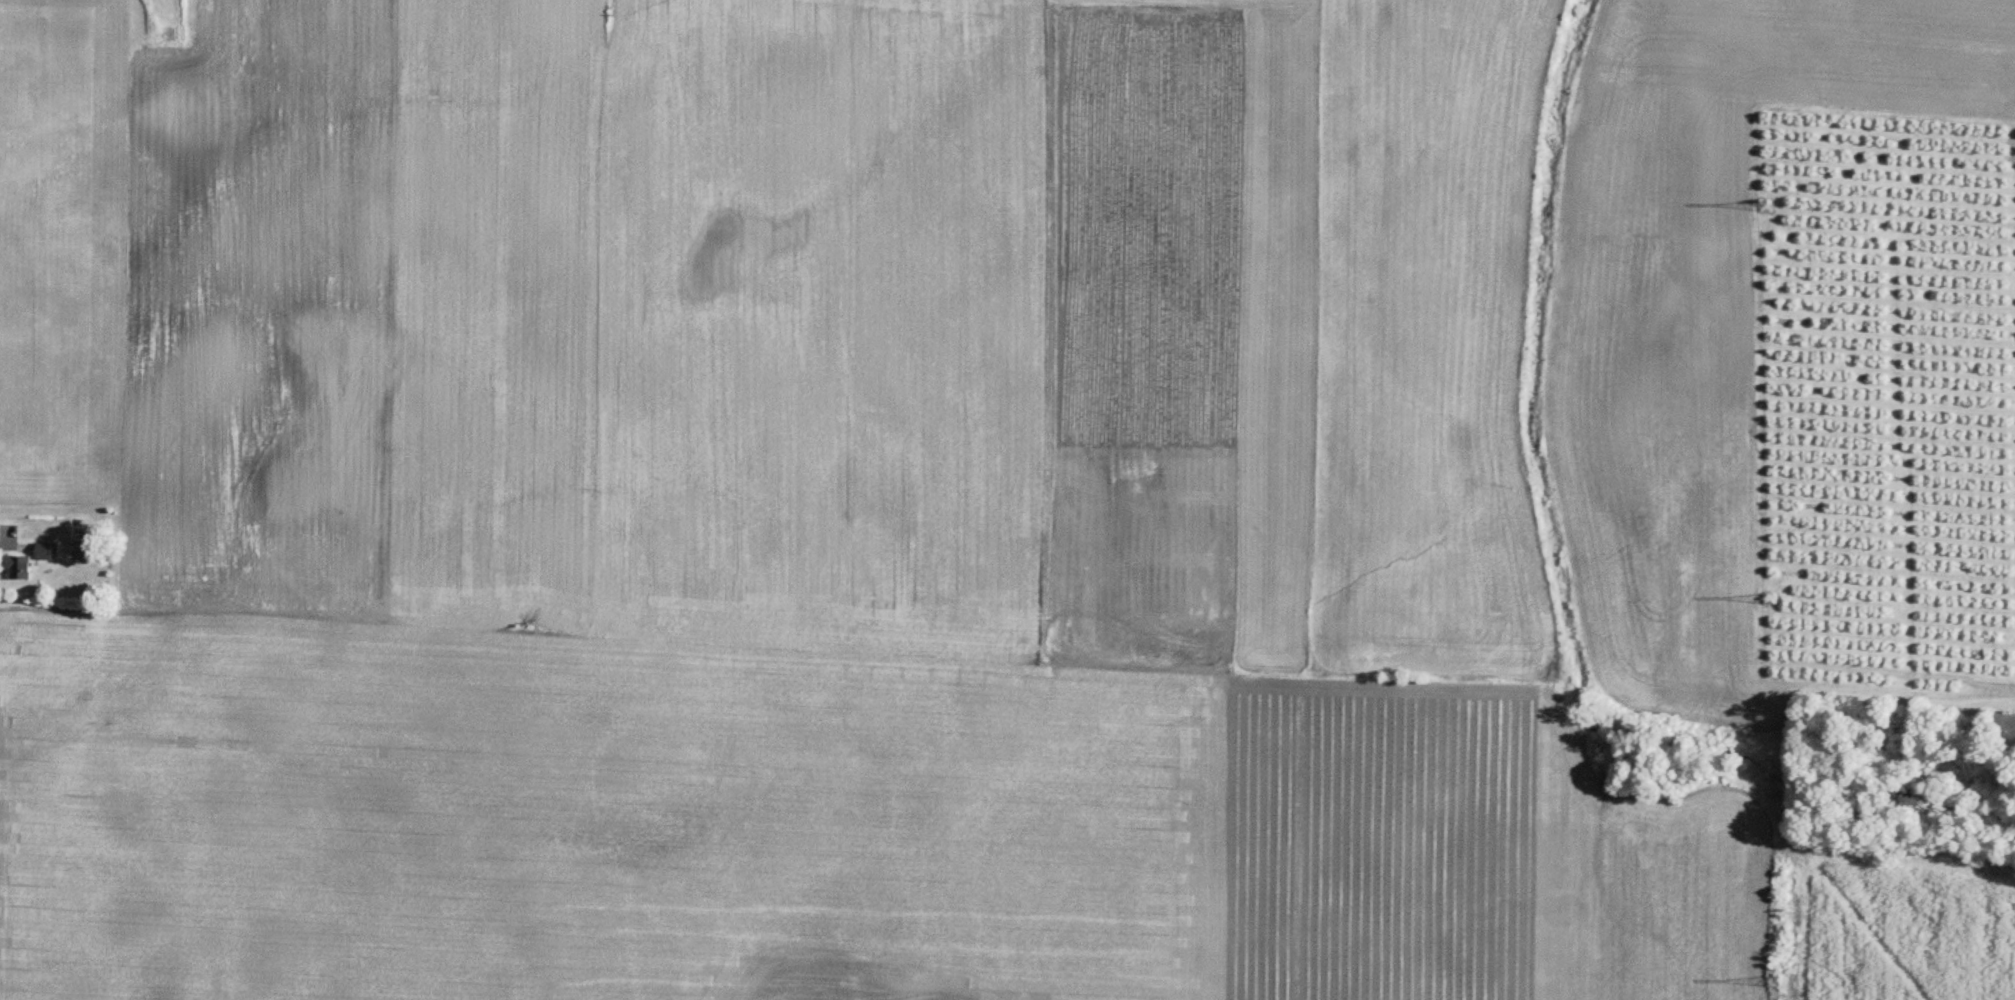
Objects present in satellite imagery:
power tower: (1761, 206)
building: (48, 552)
building: (20, 568)
power tower: (1768, 603)
power tower: (1770, 983)

